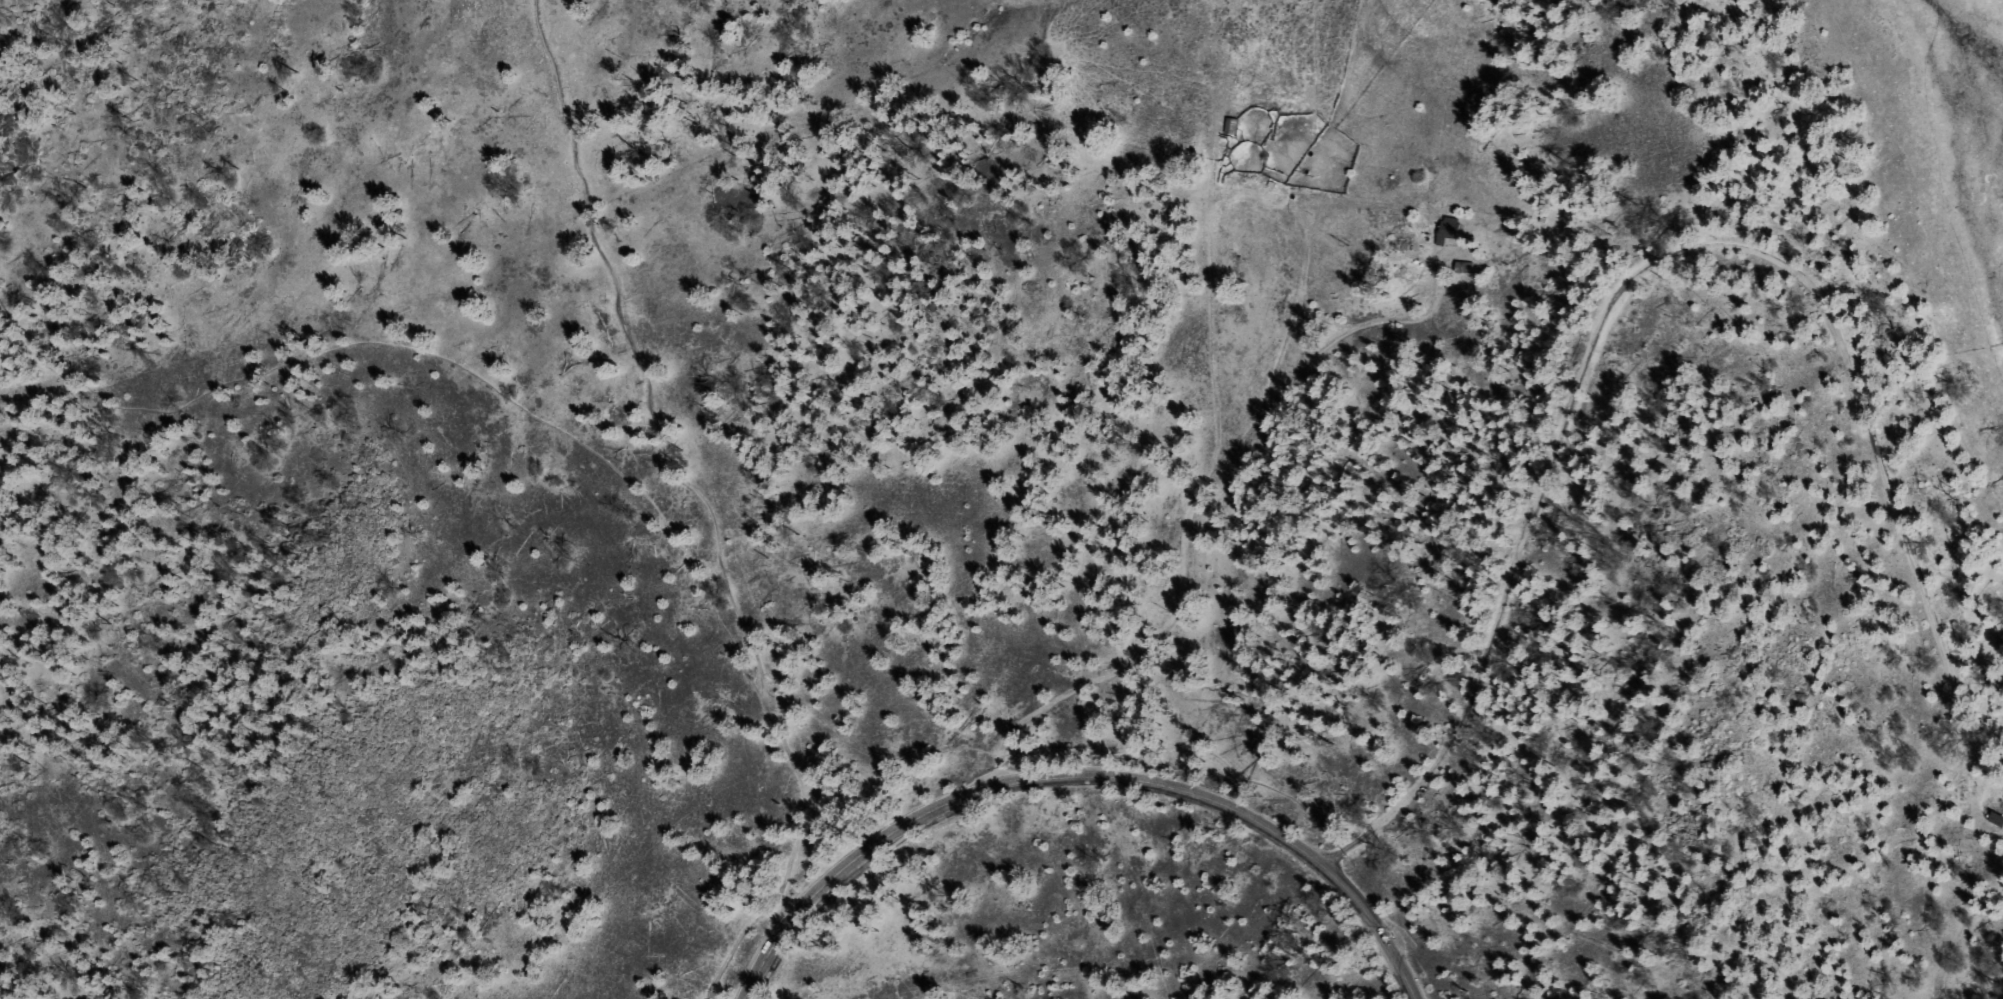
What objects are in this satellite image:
road: (1181, 189)
road: (1700, 248)
road: (434, 360)
road: (701, 500)
road: (1182, 516)
road: (1080, 739)
road: (1074, 779)
road: (1359, 838)
parking lot: (719, 998)

